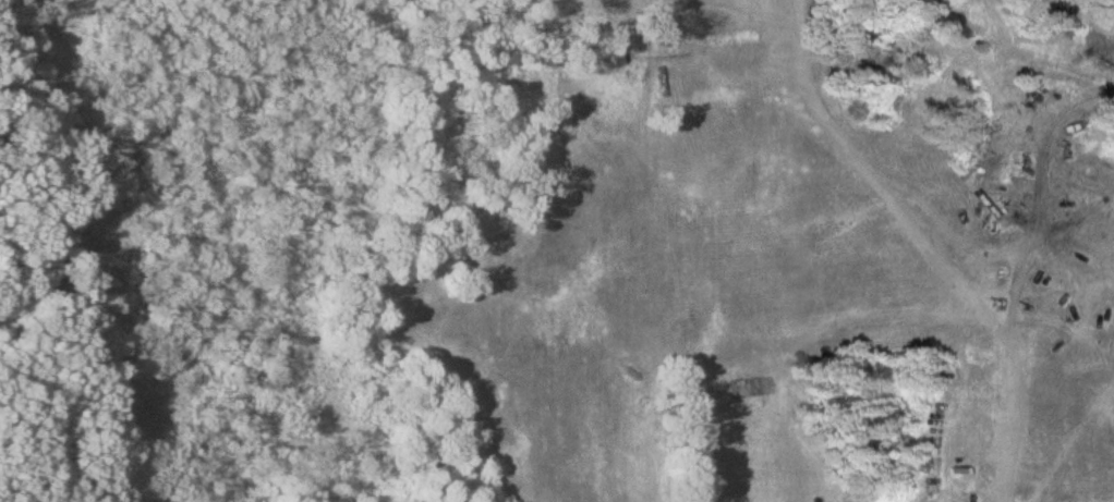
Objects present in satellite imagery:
building: (997, 196)

